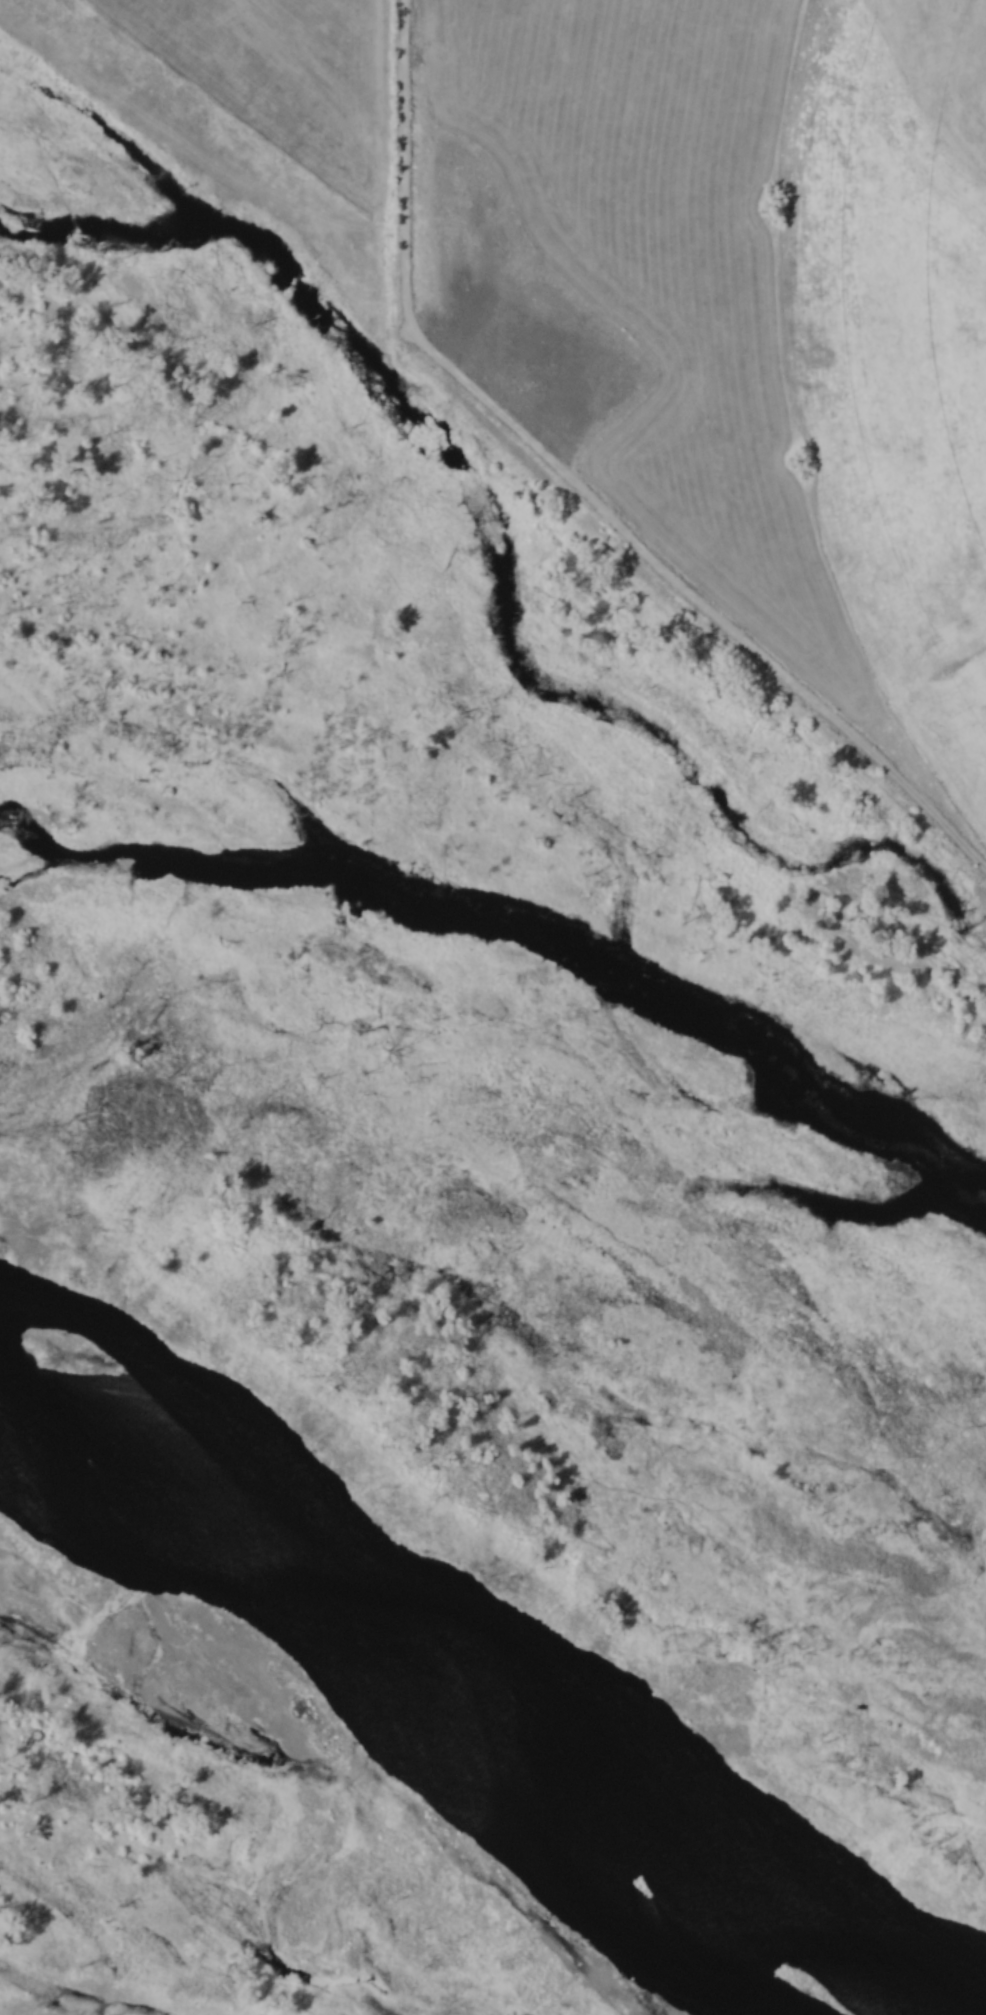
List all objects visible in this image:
river: (495, 1710)

